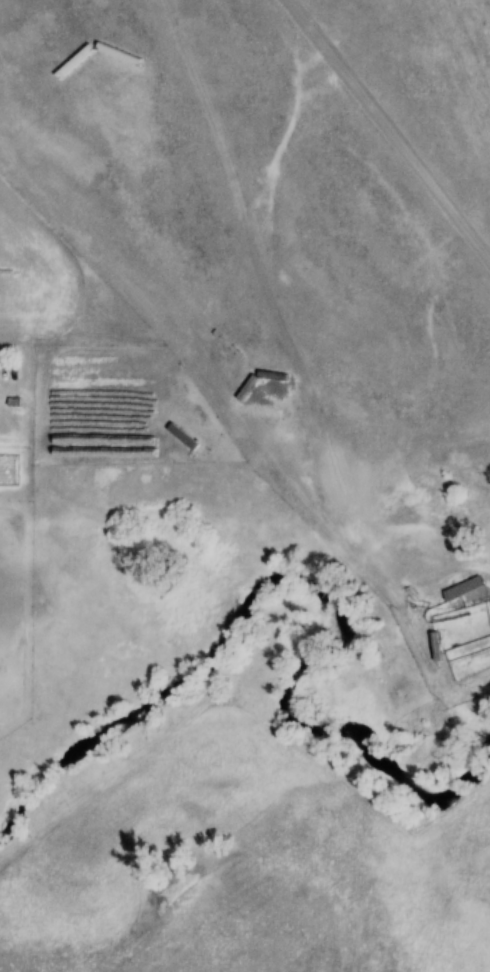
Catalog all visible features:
road: (385, 133)
building: (198, 436)
building: (187, 446)
building: (462, 594)

